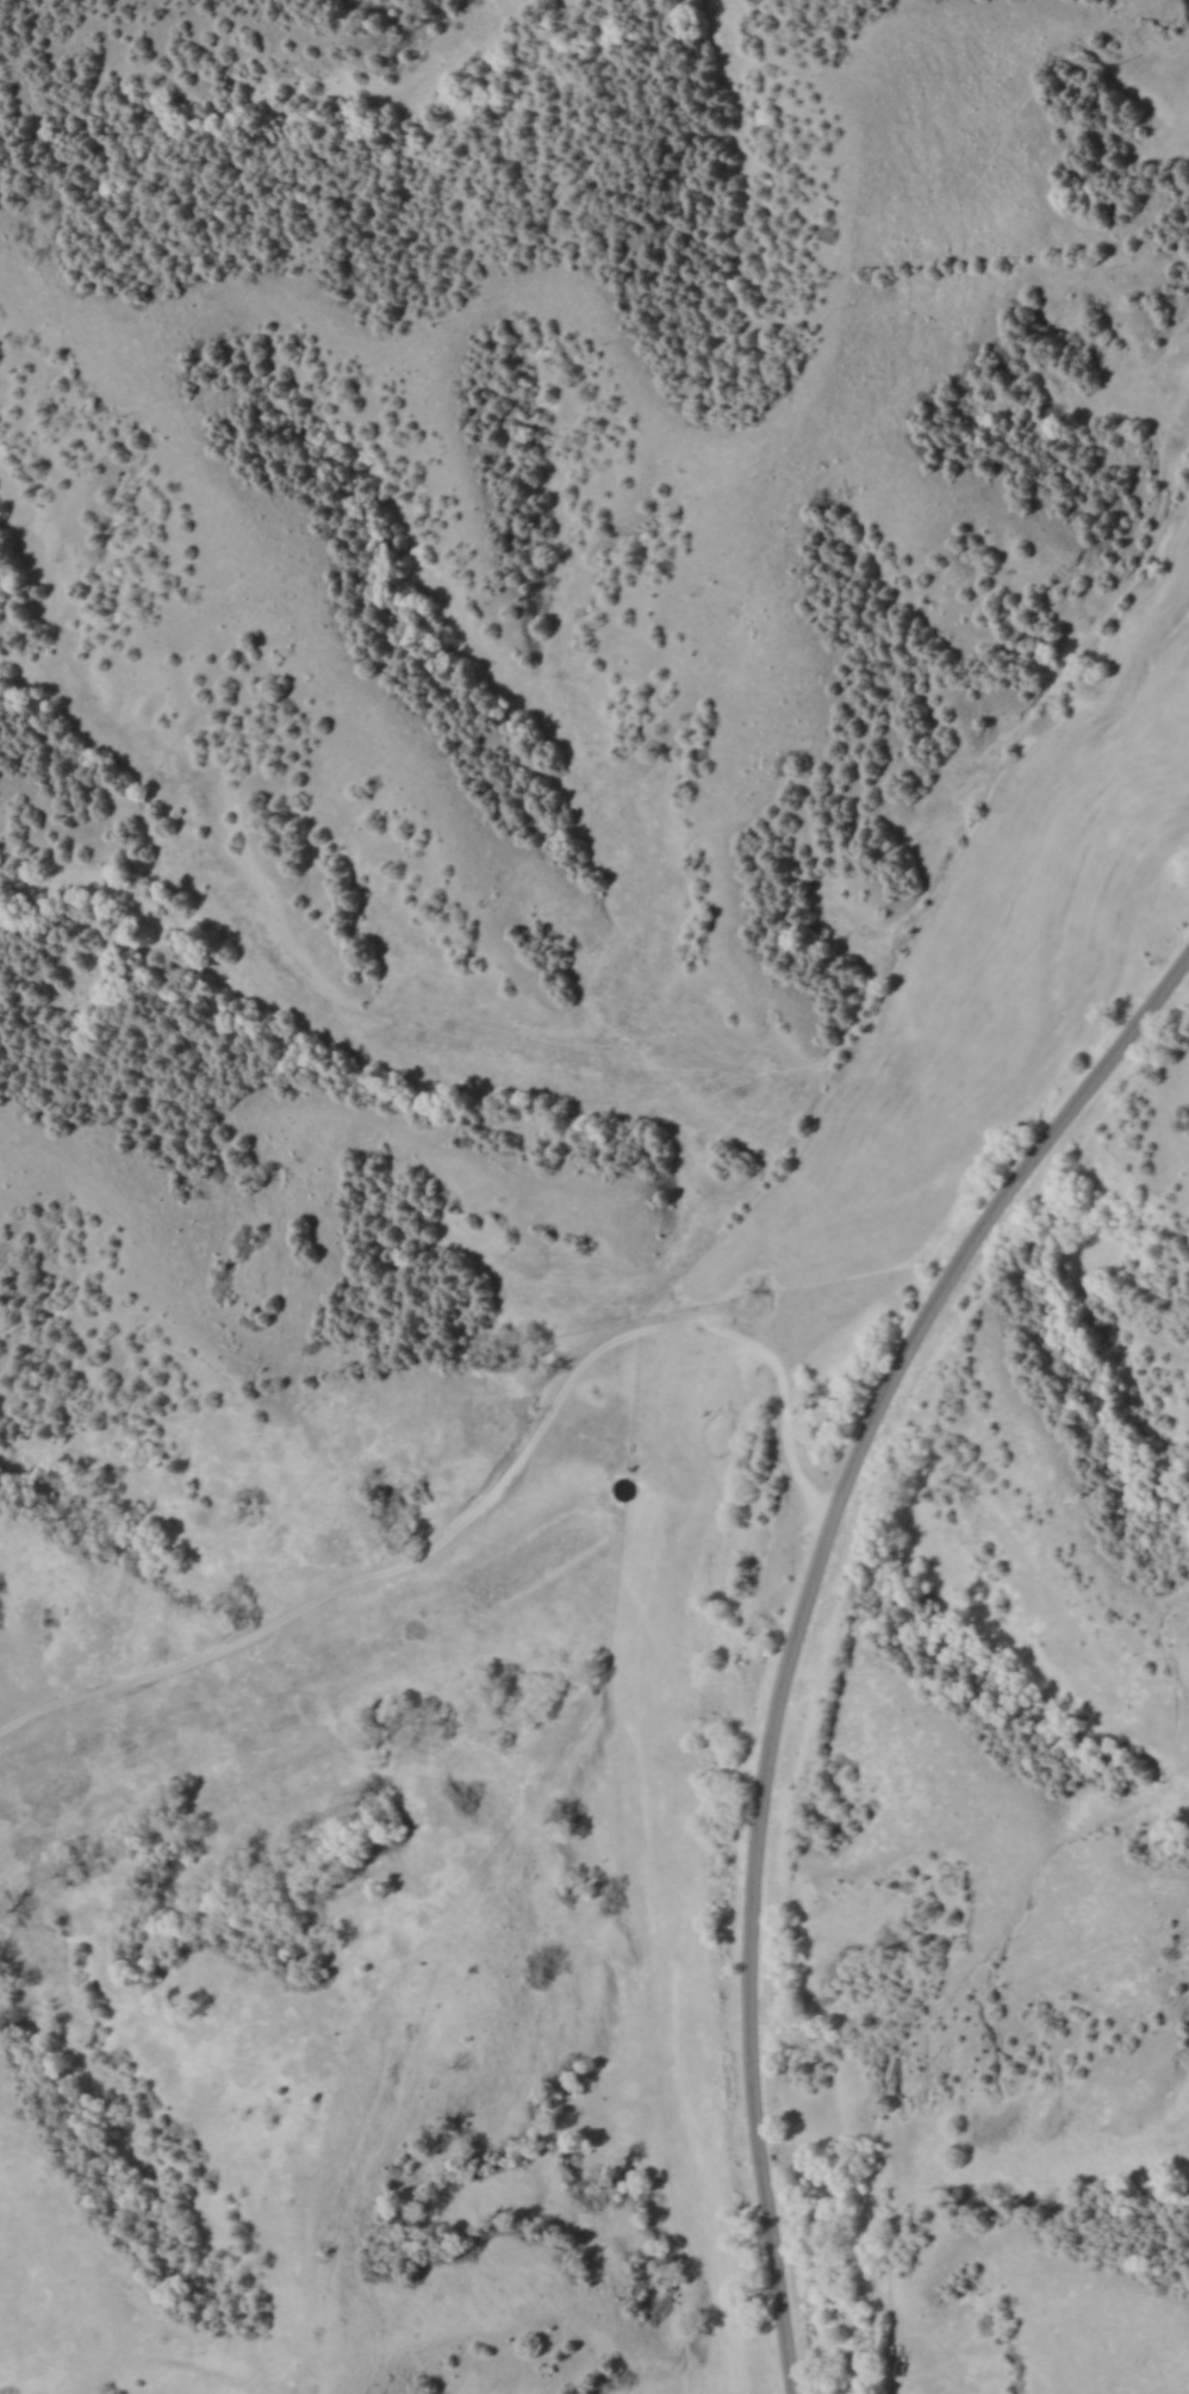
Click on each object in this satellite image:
road: (483, 1493)
road: (798, 1619)

